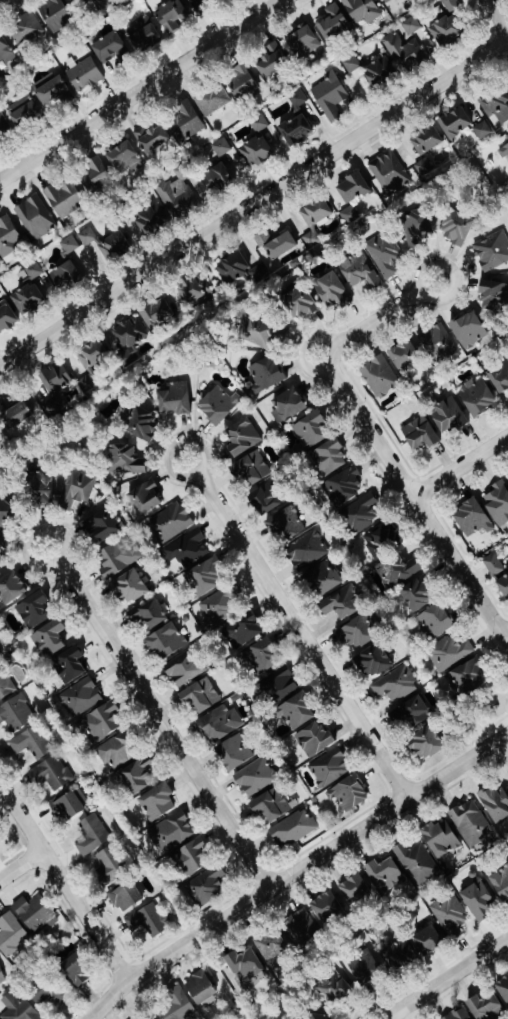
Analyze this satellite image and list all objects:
building: (75, 1)
building: (386, 1)
building: (102, 4)
building: (200, 4)
building: (452, 6)
building: (363, 10)
building: (55, 14)
building: (172, 16)
road: (497, 16)
building: (333, 22)
building: (412, 25)
building: (26, 30)
building: (447, 30)
building: (145, 33)
building: (303, 41)
building: (110, 47)
building: (5, 49)
building: (406, 52)
building: (273, 61)
building: (352, 63)
building: (380, 71)
building: (85, 75)
building: (244, 81)
building: (52, 89)
road: (141, 90)
building: (331, 95)
building: (213, 99)
building: (496, 105)
building: (25, 113)
building: (186, 121)
building: (456, 122)
building: (259, 123)
building: (4, 127)
building: (297, 130)
building: (482, 130)
building: (152, 137)
building: (426, 140)
building: (221, 147)
building: (505, 149)
building: (258, 151)
building: (124, 158)
building: (424, 167)
building: (95, 172)
building: (390, 172)
building: (217, 177)
building: (354, 188)
building: (64, 198)
road: (254, 203)
building: (170, 204)
building: (350, 214)
building: (36, 217)
building: (315, 219)
building: (417, 226)
building: (458, 228)
building: (8, 236)
building: (105, 244)
building: (276, 244)
building: (70, 245)
building: (492, 251)
building: (385, 254)
building: (34, 270)
building: (241, 270)
building: (360, 270)
road: (453, 273)
building: (66, 276)
building: (198, 290)
building: (332, 291)
building: (494, 296)
building: (28, 299)
building: (299, 300)
building: (158, 313)
building: (7, 318)
road: (370, 322)
building: (470, 330)
building: (257, 332)
road: (317, 338)
building: (129, 340)
building: (439, 344)
building: (405, 356)
building: (92, 363)
road: (311, 368)
building: (267, 374)
building: (380, 377)
building: (56, 387)
building: (478, 397)
building: (176, 399)
building: (218, 406)
building: (289, 406)
building: (448, 415)
building: (17, 417)
building: (143, 425)
building: (311, 430)
building: (421, 434)
building: (244, 437)
road: (177, 442)
building: (330, 458)
building: (126, 461)
road: (460, 466)
building: (252, 468)
building: (507, 477)
building: (344, 487)
building: (42, 489)
building: (77, 489)
building: (148, 496)
building: (268, 498)
building: (498, 503)
road: (416, 504)
building: (6, 513)
building: (361, 514)
building: (473, 518)
building: (171, 522)
building: (286, 525)
building: (104, 526)
road: (37, 530)
building: (381, 540)
building: (3, 550)
building: (187, 550)
building: (307, 550)
building: (118, 557)
building: (494, 564)
building: (396, 571)
building: (206, 577)
building: (324, 578)
building: (504, 586)
building: (12, 588)
building: (131, 588)
building: (419, 594)
building: (343, 603)
building: (219, 608)
building: (34, 610)
building: (149, 614)
building: (436, 621)
building: (243, 631)
building: (359, 632)
road: (302, 637)
road: (505, 638)
building: (50, 639)
building: (166, 642)
building: (450, 652)
building: (263, 656)
building: (374, 661)
building: (69, 665)
building: (184, 668)
building: (468, 677)
building: (396, 684)
building: (5, 685)
building: (278, 685)
building: (201, 696)
building: (81, 697)
building: (297, 711)
building: (412, 713)
building: (16, 714)
building: (100, 723)
building: (221, 723)
road: (164, 726)
building: (316, 740)
building: (32, 742)
building: (427, 744)
building: (116, 751)
building: (234, 753)
building: (330, 768)
building: (52, 773)
building: (138, 776)
building: (256, 777)
building: (350, 793)
building: (158, 802)
building: (496, 803)
building: (68, 805)
building: (271, 805)
building: (471, 823)
building: (294, 828)
building: (171, 832)
building: (93, 835)
building: (441, 839)
building: (191, 858)
building: (417, 863)
road: (20, 865)
building: (110, 866)
road: (295, 871)
building: (385, 875)
building: (501, 882)
road: (63, 884)
building: (208, 885)
building: (355, 890)
building: (127, 896)
building: (479, 900)
building: (328, 908)
building: (36, 912)
building: (450, 915)
building: (149, 920)
building: (301, 927)
building: (12, 934)
building: (429, 940)
building: (272, 943)
building: (402, 952)
building: (245, 964)
building: (365, 967)
building: (78, 969)
building: (1, 976)
road: (445, 978)
building: (504, 987)
building: (334, 988)
building: (202, 989)
building: (49, 992)
building: (178, 1005)
building: (486, 1006)
building: (18, 1007)
building: (458, 1014)
building: (322, 1017)

